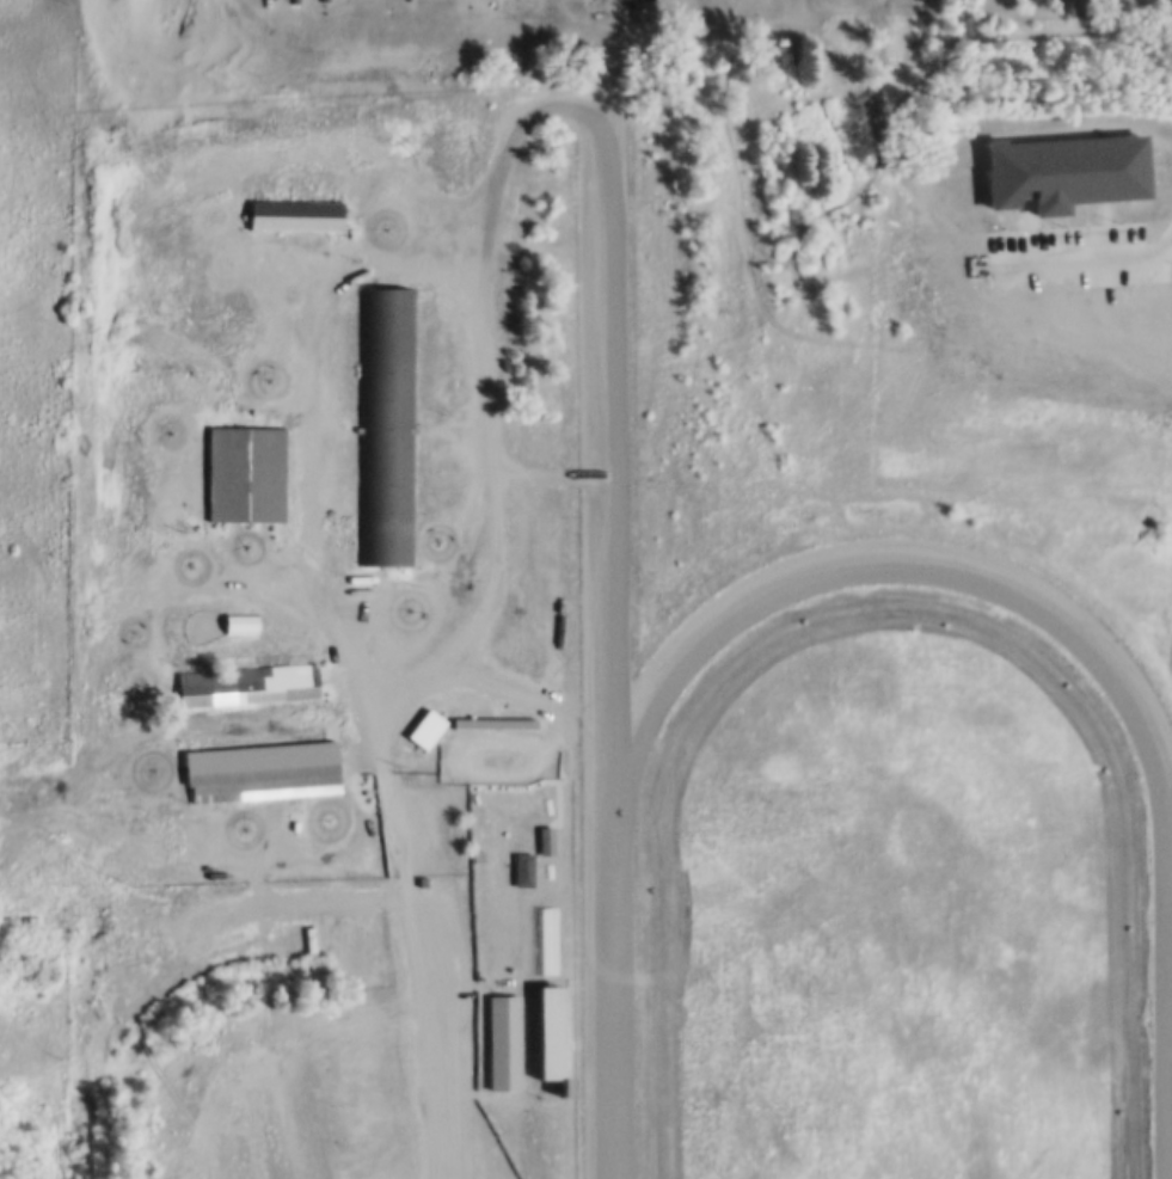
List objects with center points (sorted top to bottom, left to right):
building: (1062, 168)
building: (388, 423)
building: (246, 471)
raceway: (599, 478)
building: (1159, 524)
raceway: (821, 575)
building: (241, 621)
building: (248, 682)
building: (262, 760)
building: (518, 871)
road: (405, 885)
building: (547, 1030)
building: (505, 1040)

